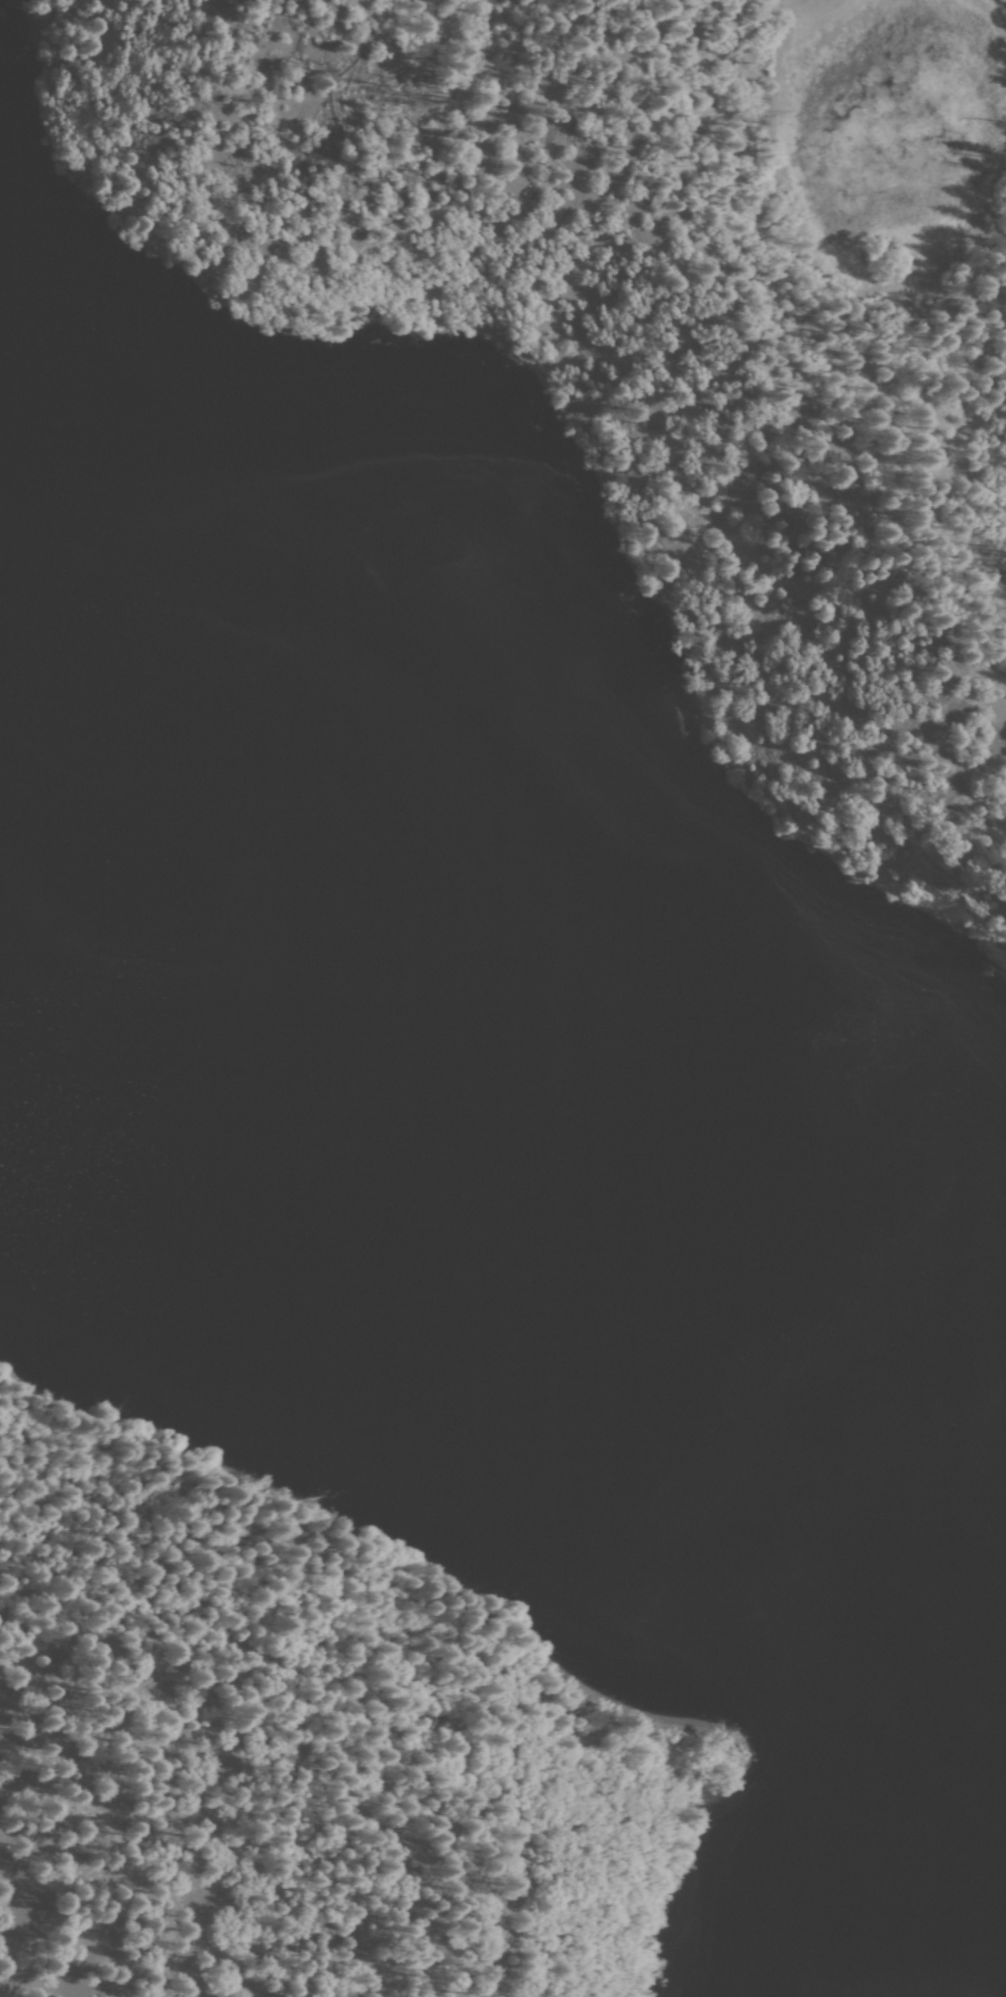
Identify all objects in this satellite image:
river: (679, 1258)

